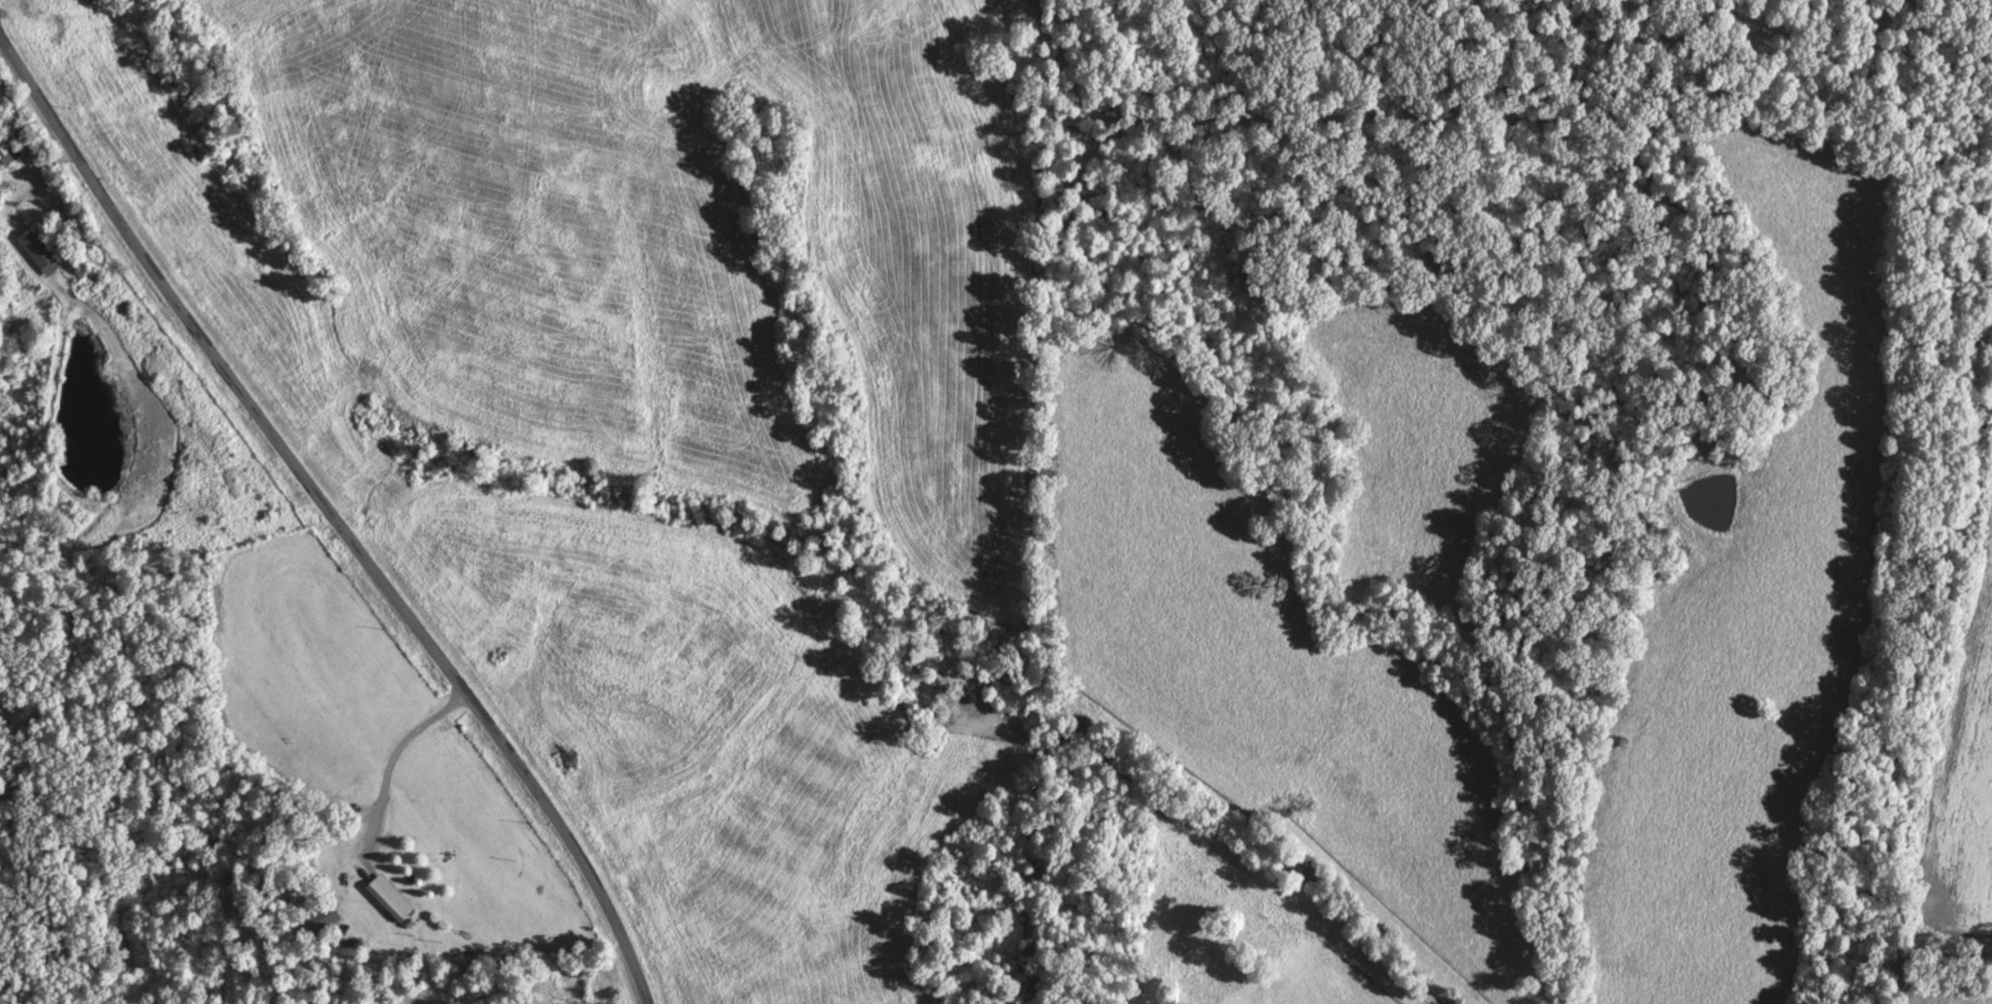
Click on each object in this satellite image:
building: (10, 147)
building: (40, 251)
road: (337, 520)
building: (391, 898)
building: (322, 921)

